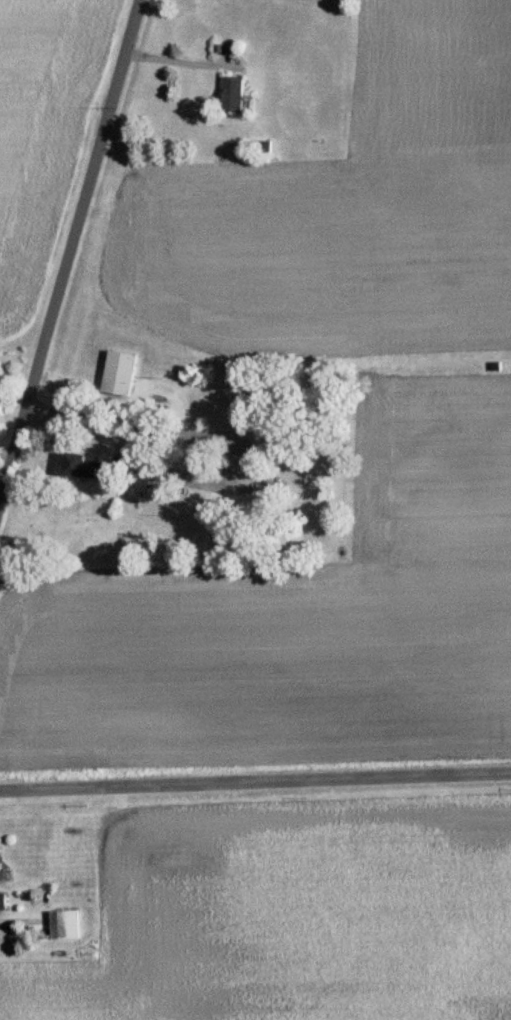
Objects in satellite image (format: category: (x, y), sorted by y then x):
road: (172, 61)
building: (237, 96)
road: (68, 245)
building: (74, 465)
road: (255, 785)
building: (1, 900)
building: (62, 923)

